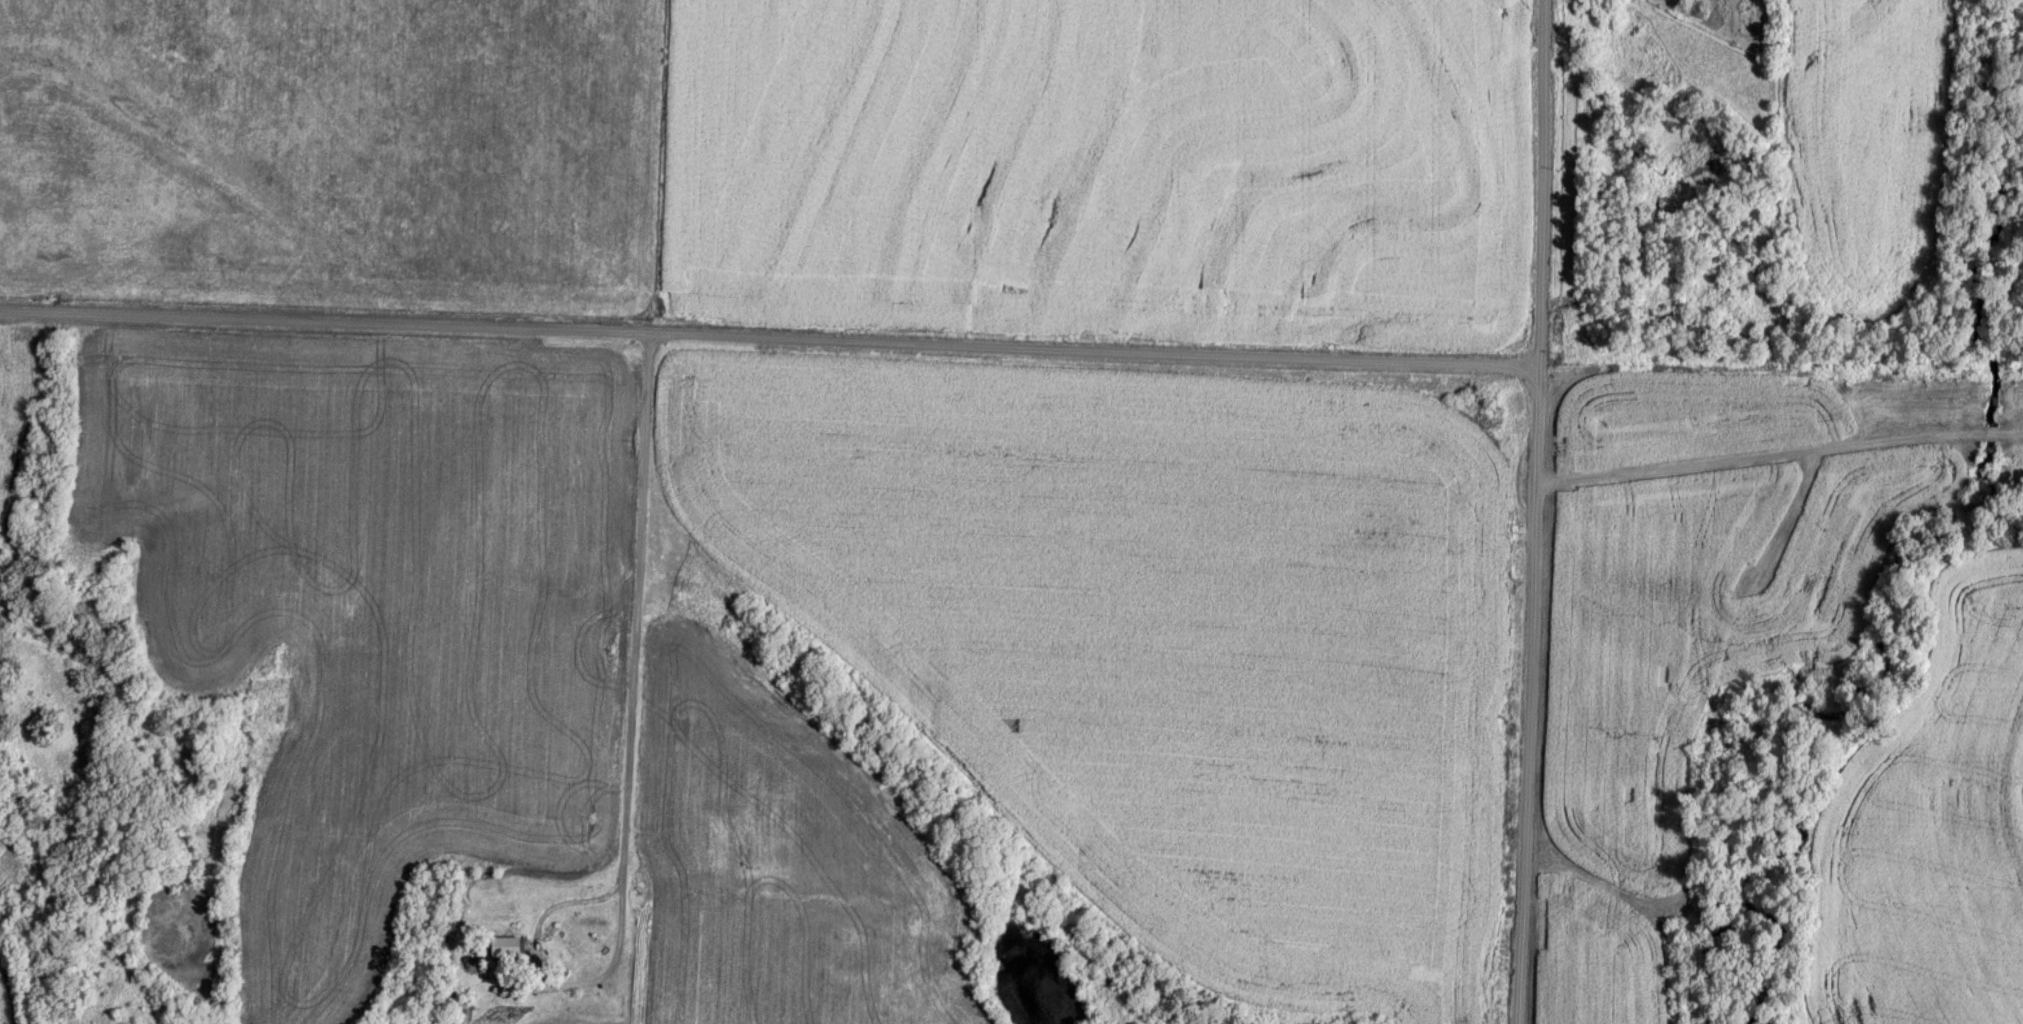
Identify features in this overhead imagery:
road: (769, 336)
road: (1779, 452)
road: (1534, 512)
road: (632, 692)
building: (509, 947)

